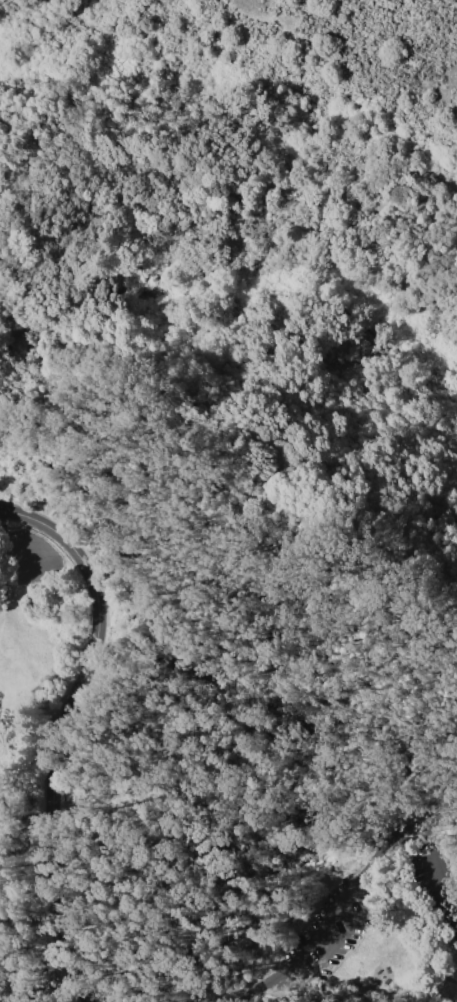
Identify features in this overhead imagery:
road: (224, 230)
road: (5, 551)
parking lot: (29, 558)
road: (55, 731)
road: (371, 877)

